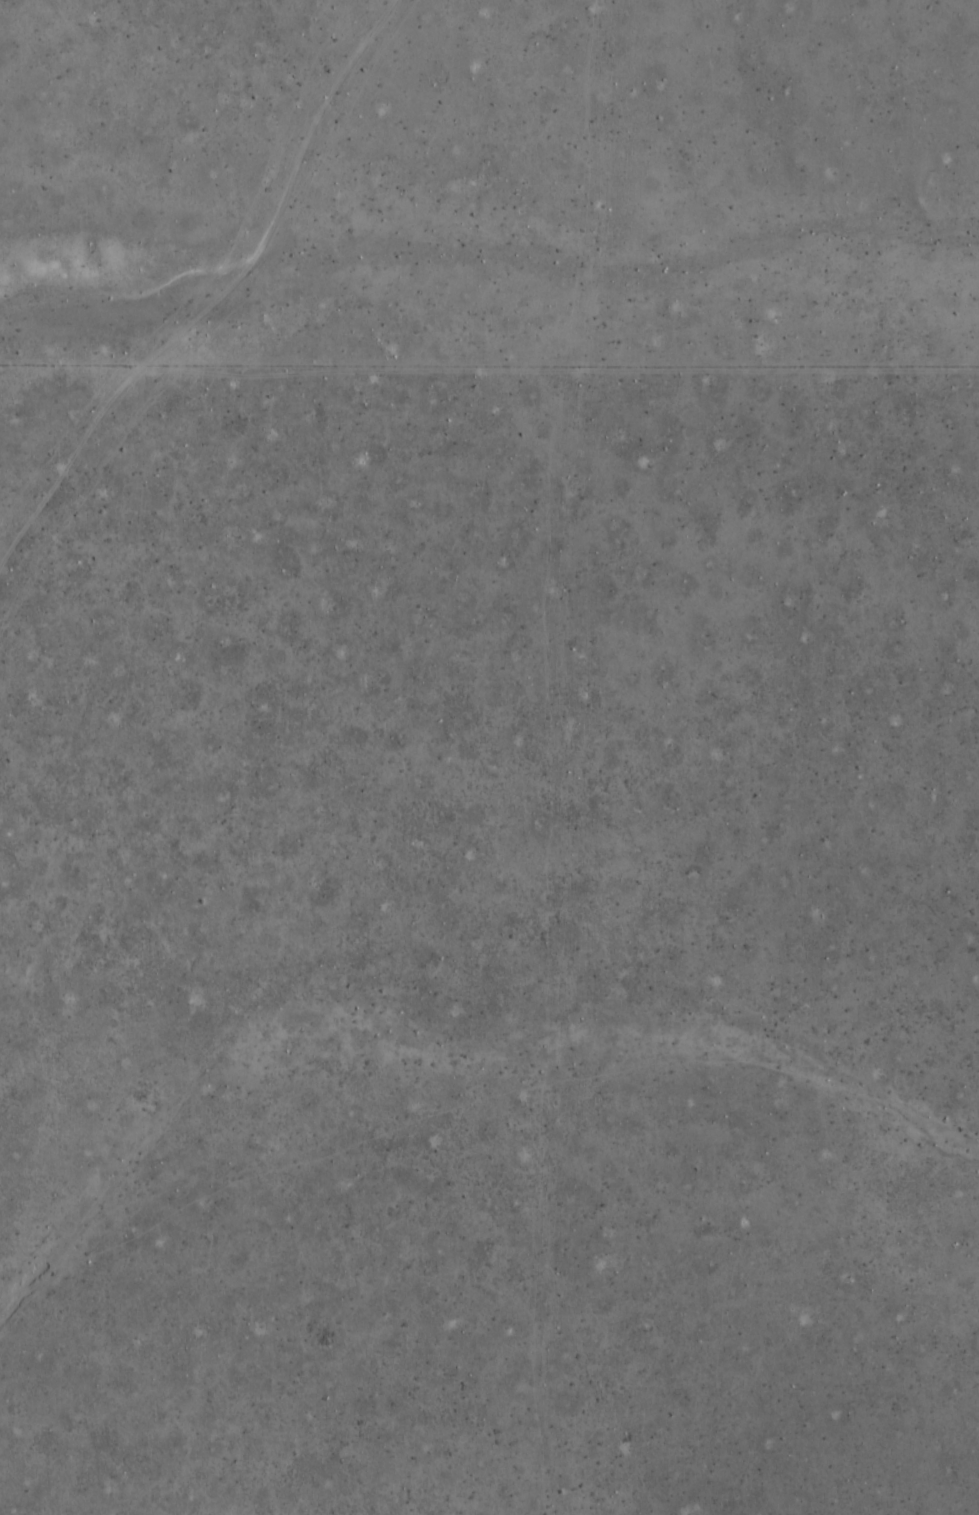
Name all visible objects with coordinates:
road: (220, 304)

